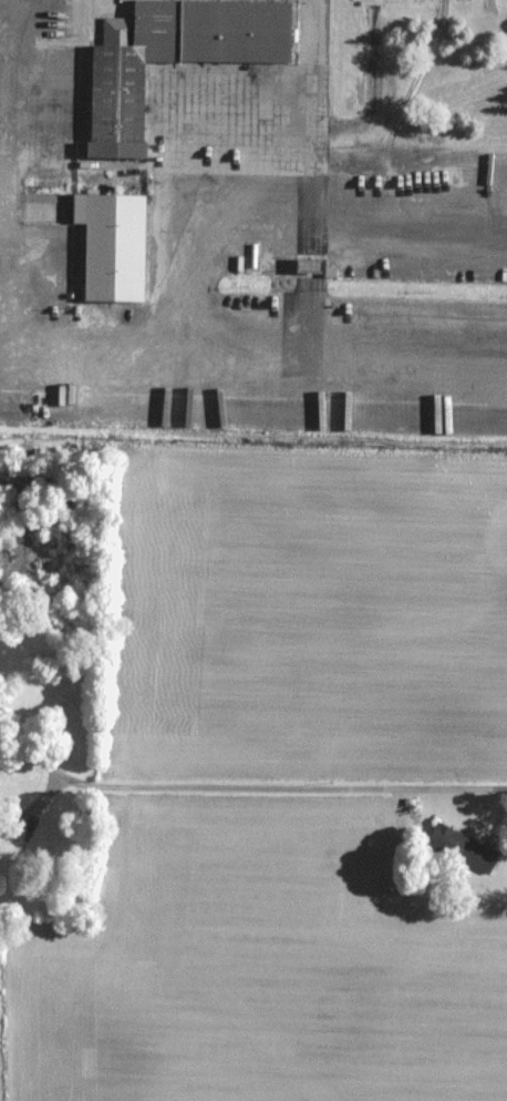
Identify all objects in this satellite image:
building: (170, 59)
road: (312, 206)
building: (110, 247)
building: (309, 267)
road: (38, 751)
road: (292, 788)
road: (39, 801)
building: (462, 848)

